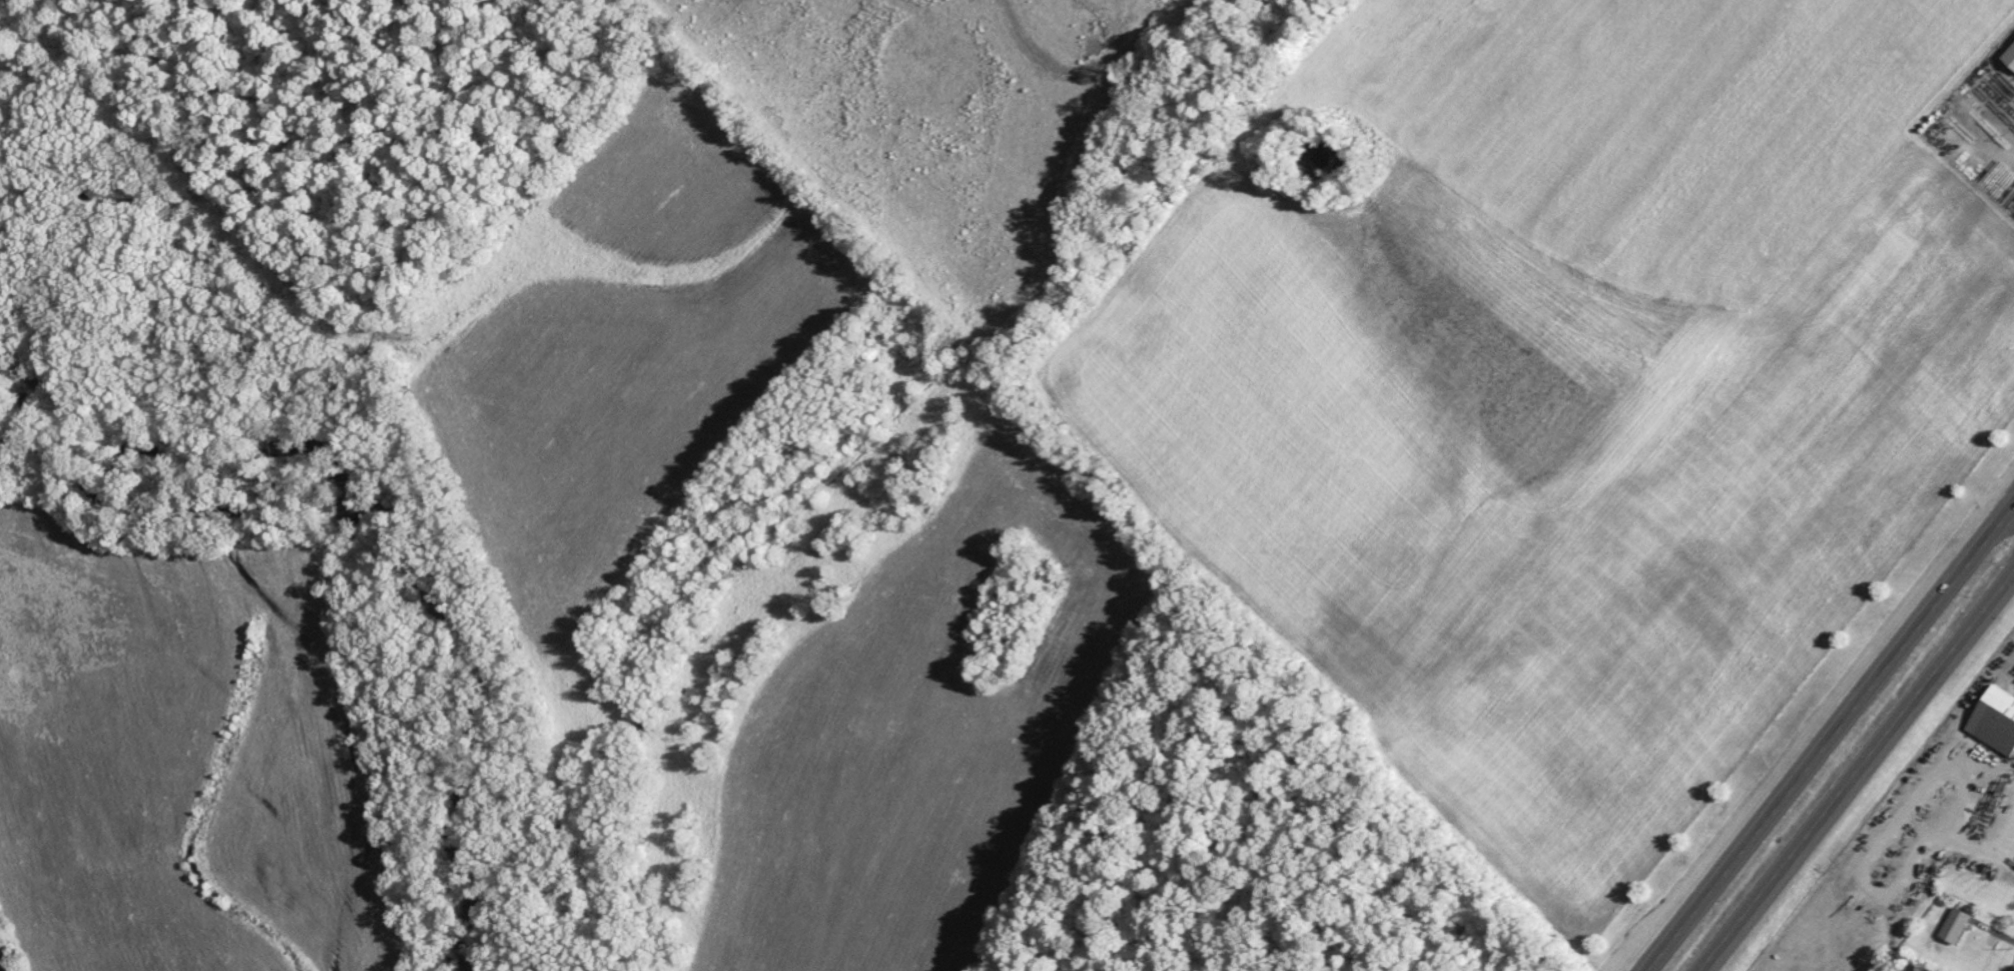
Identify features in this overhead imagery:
building: (2008, 56)
road: (2009, 514)
building: (1993, 720)
road: (1828, 734)
road: (1859, 774)
building: (1953, 926)
building: (1916, 970)

